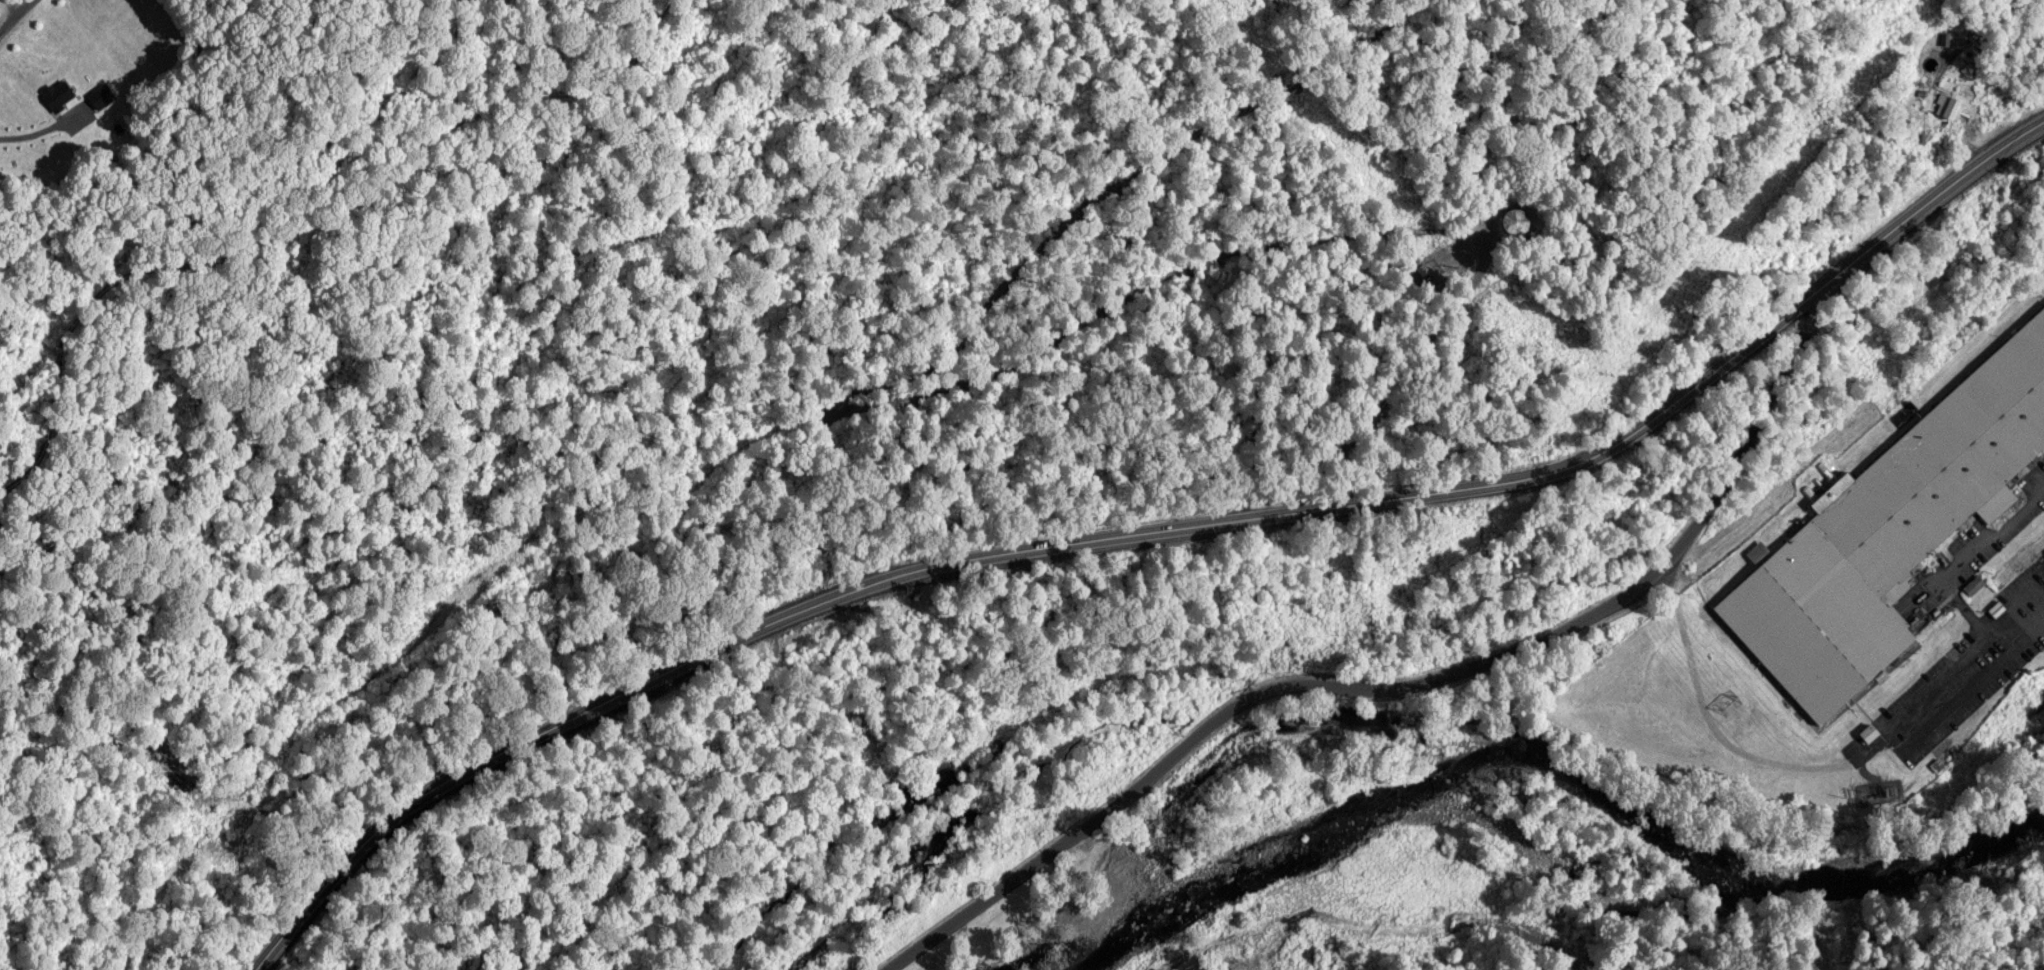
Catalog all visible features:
road: (0, 0)
building: (1974, 57)
road: (599, 87)
building: (60, 91)
building: (1951, 102)
road: (1507, 193)
building: (1518, 216)
road: (1427, 272)
road: (1147, 533)
building: (1888, 534)
building: (1976, 583)
road: (1383, 685)
road: (190, 884)
building: (1365, 914)
building: (1265, 957)
road: (1190, 960)

